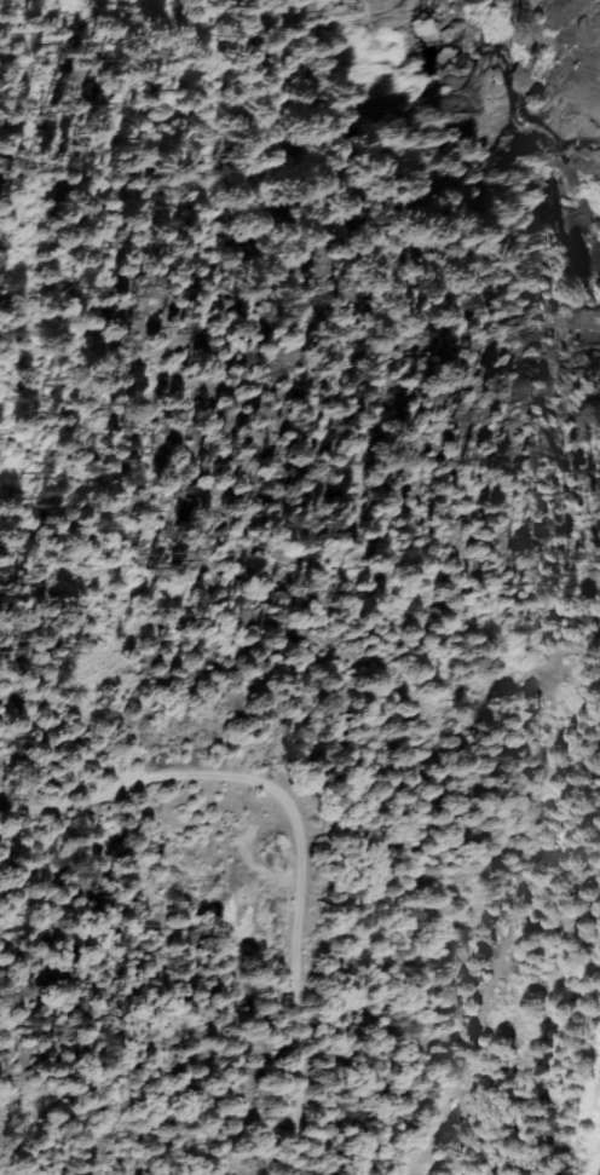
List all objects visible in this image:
road: (302, 841)

